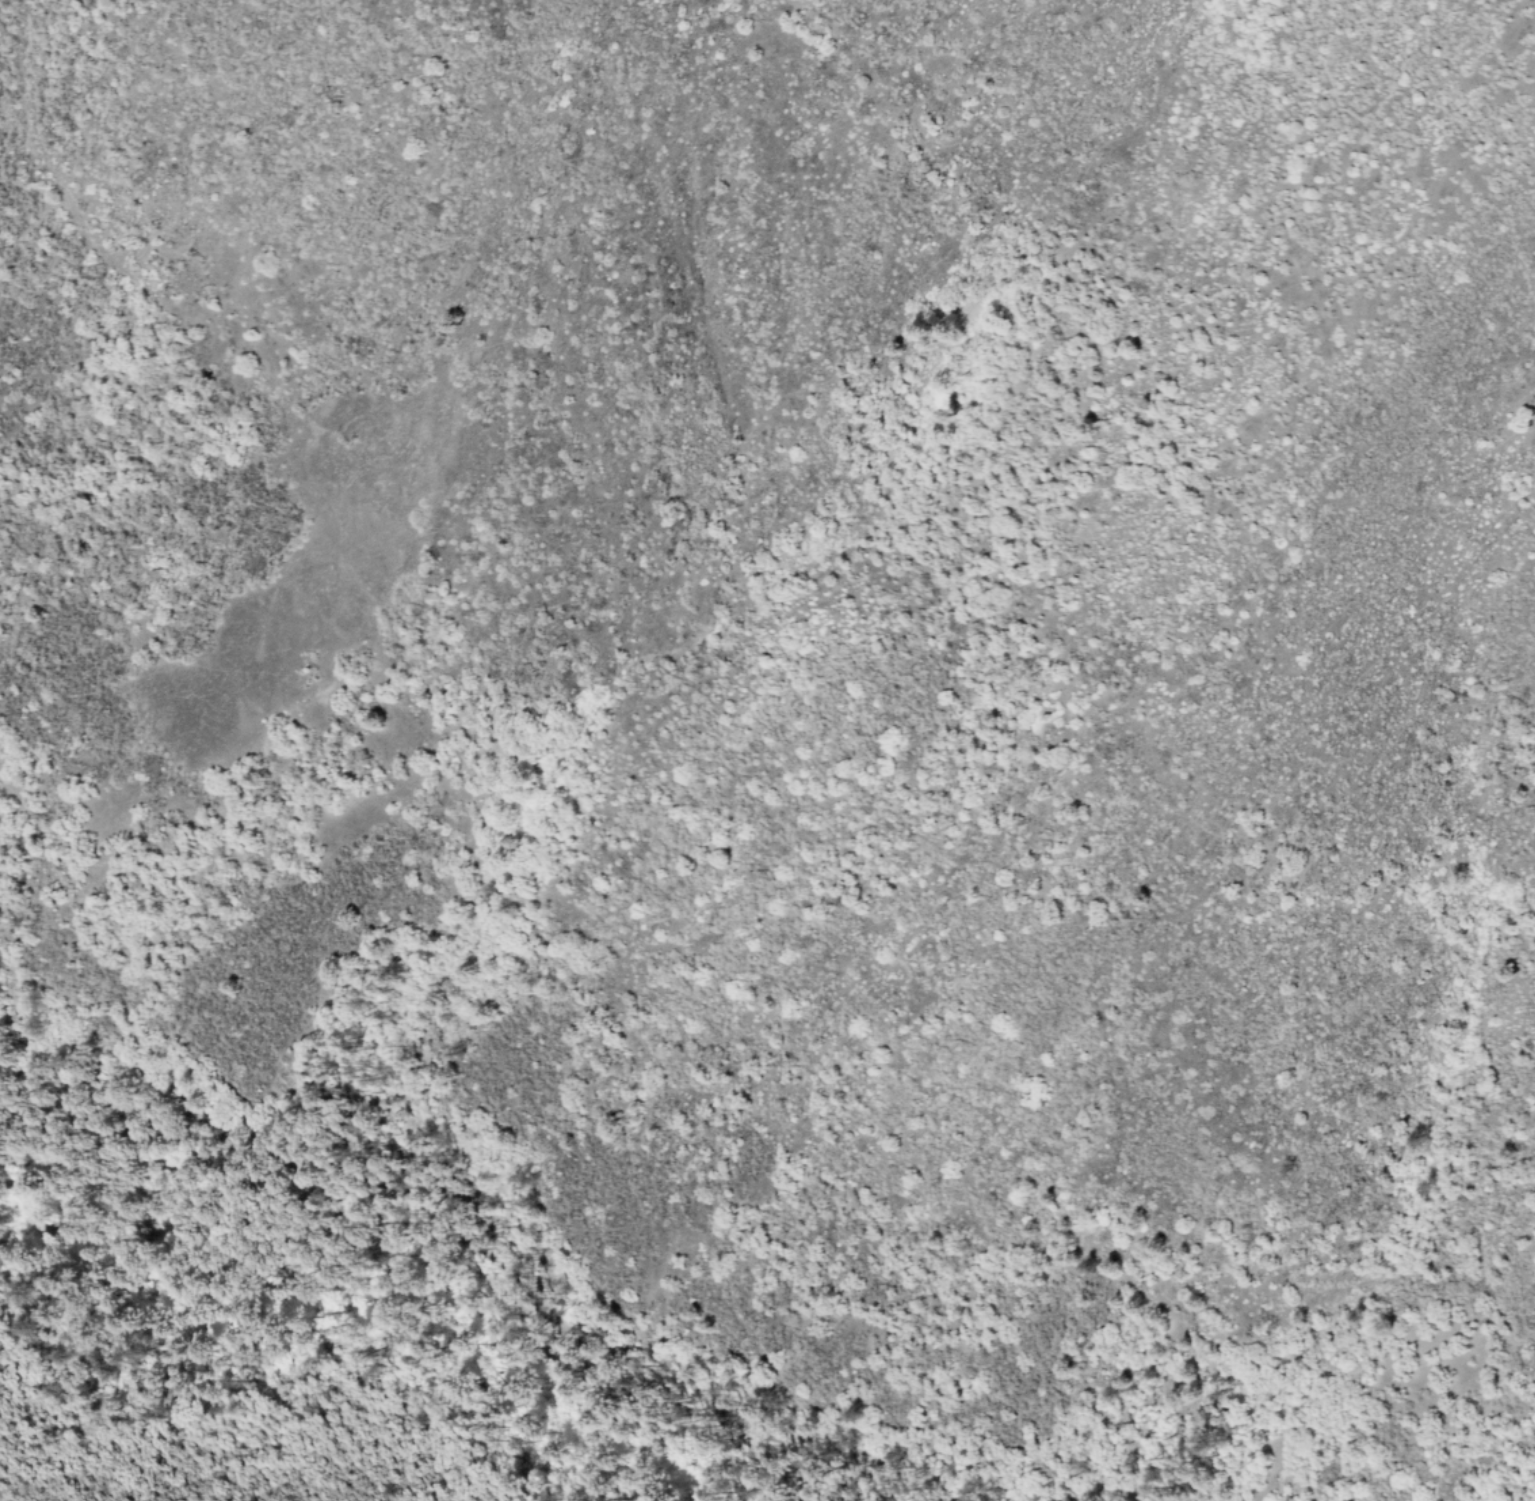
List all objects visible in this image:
road: (405, 1209)
road: (743, 1351)

